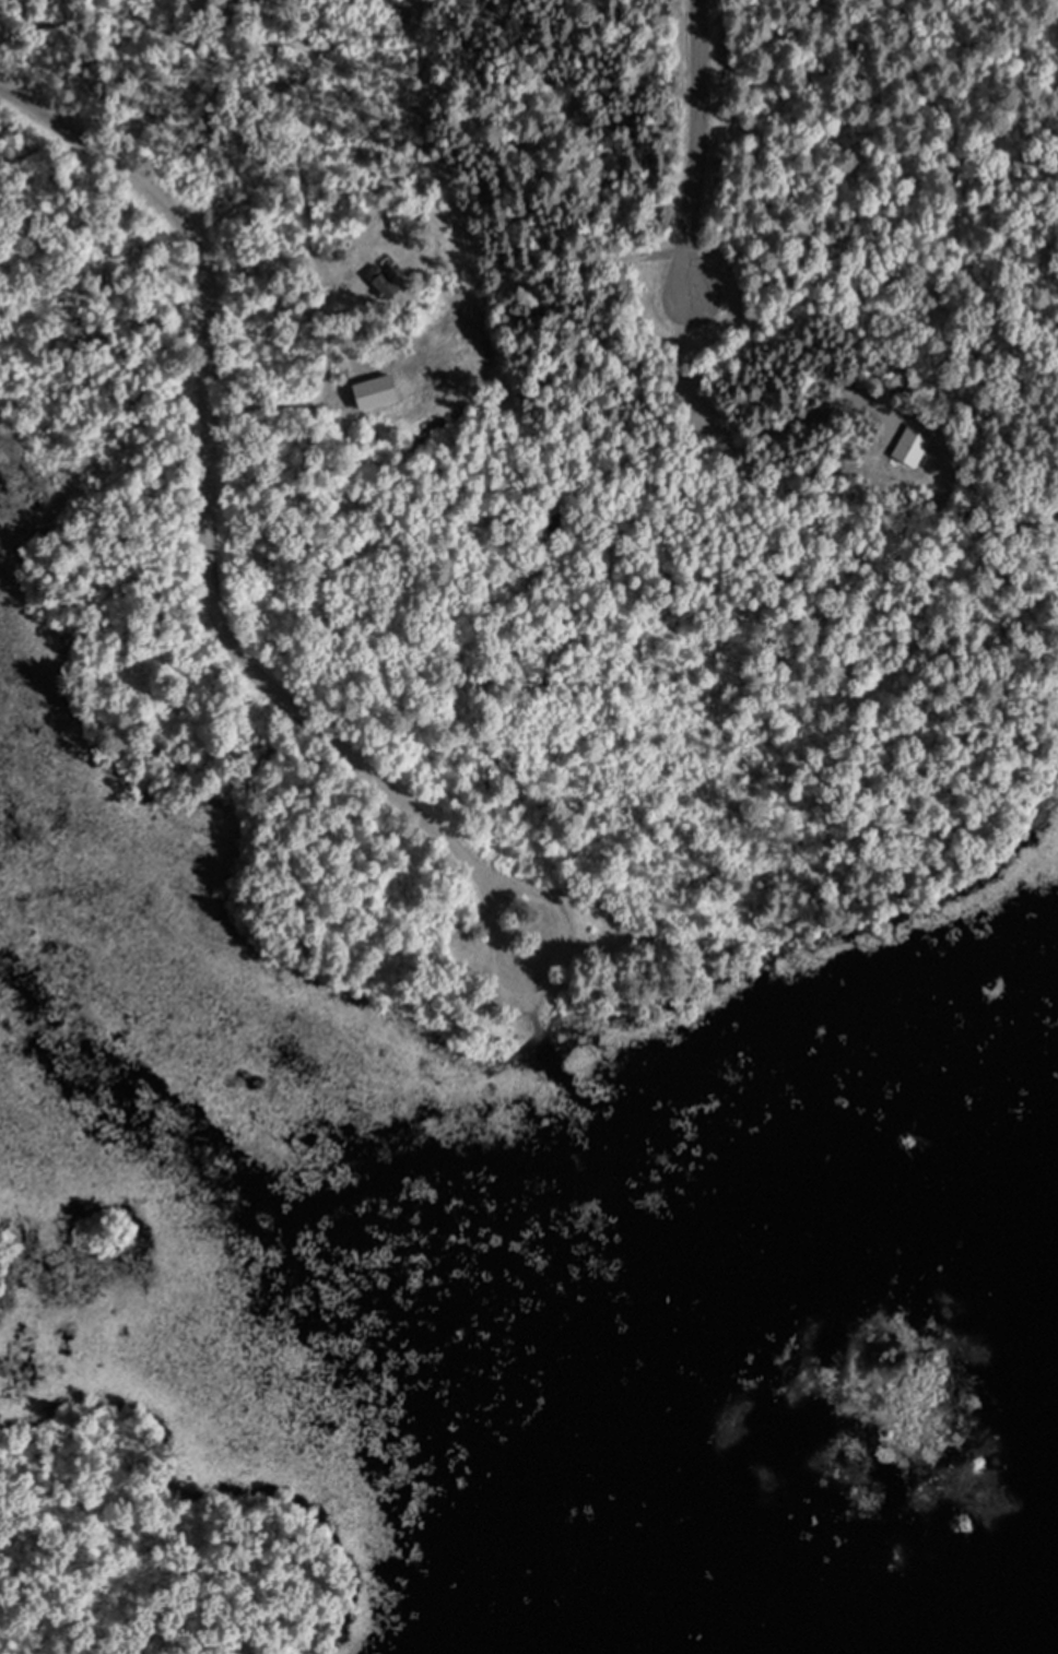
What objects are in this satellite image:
road: (694, 145)
building: (387, 285)
road: (205, 485)
road: (561, 950)

